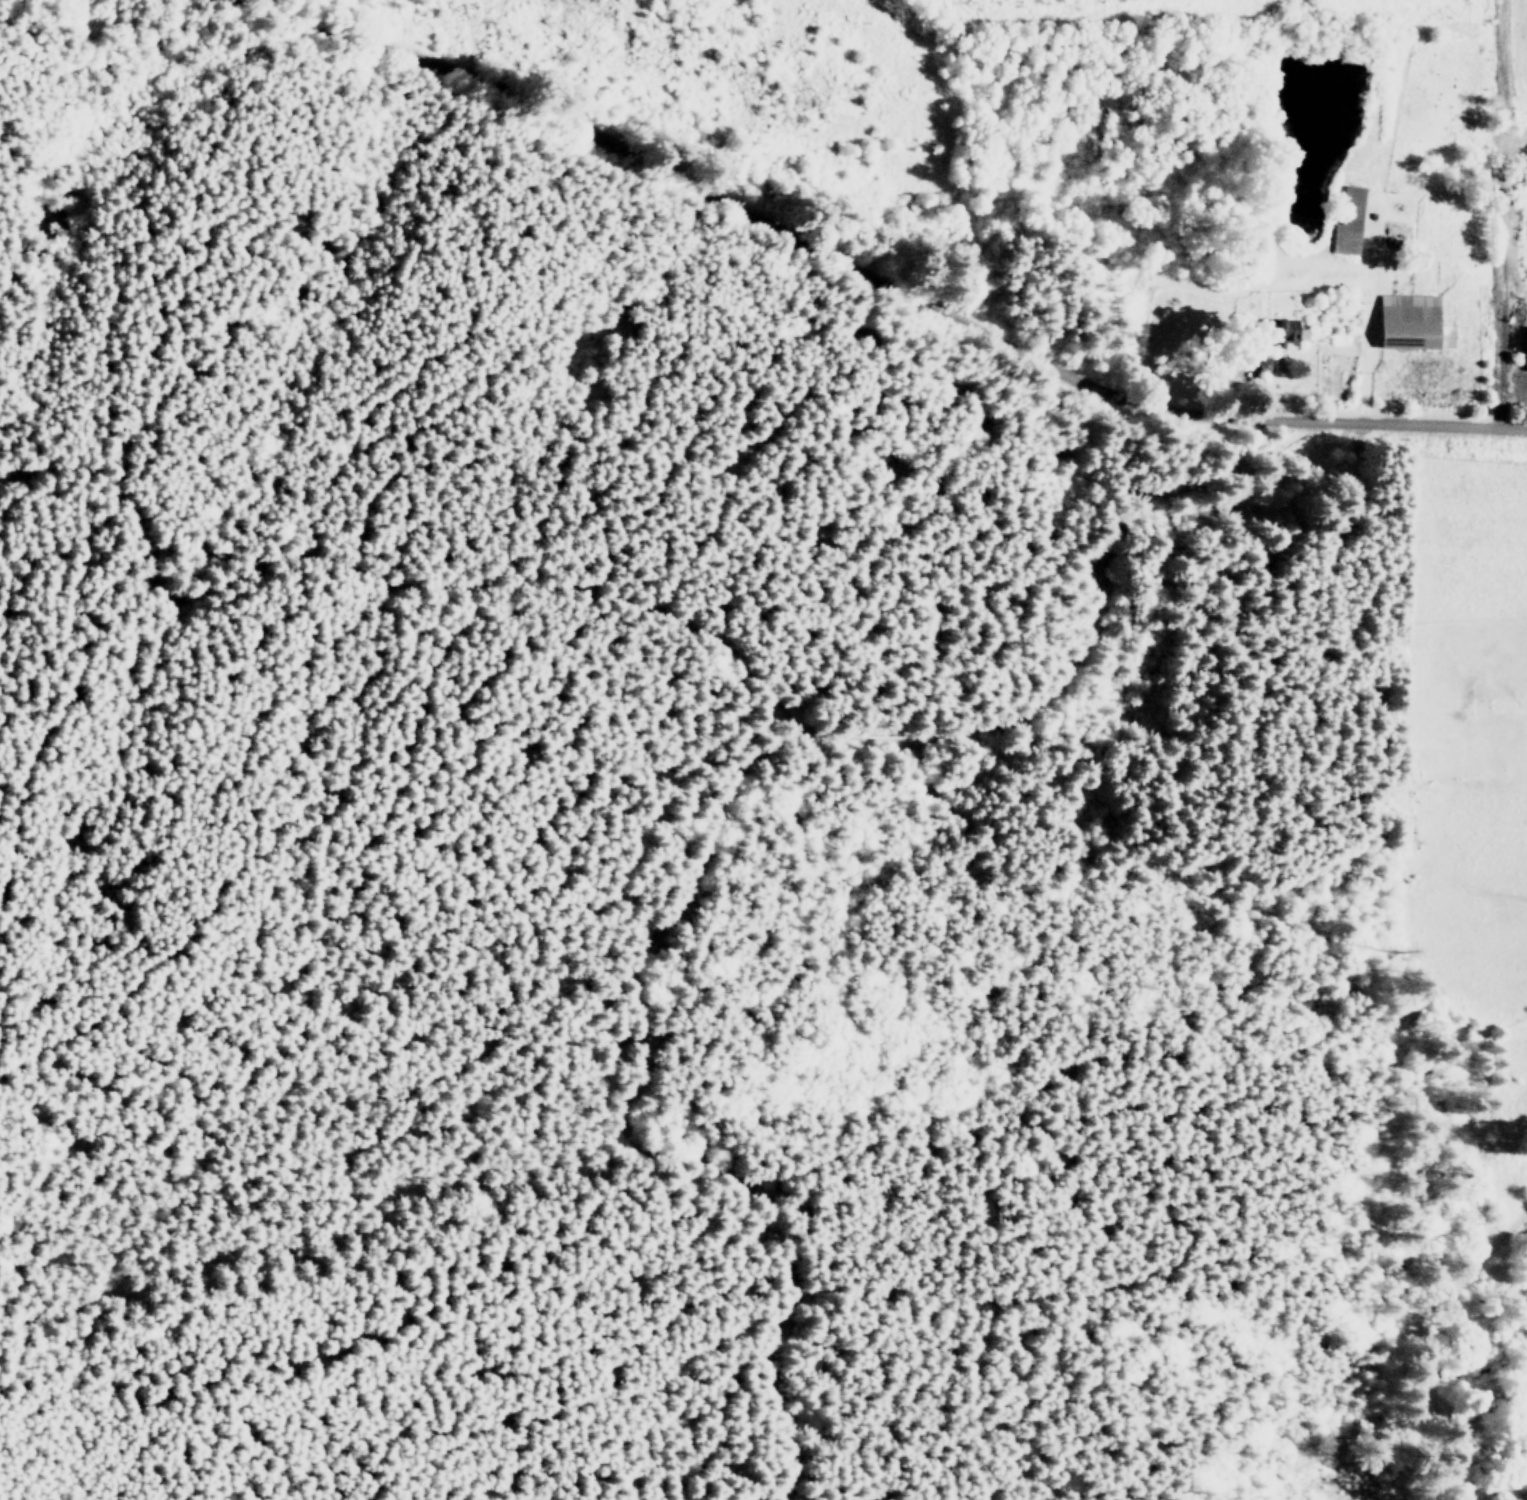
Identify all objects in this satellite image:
building: (1349, 221)
road: (862, 272)
building: (1413, 322)
road: (767, 791)

